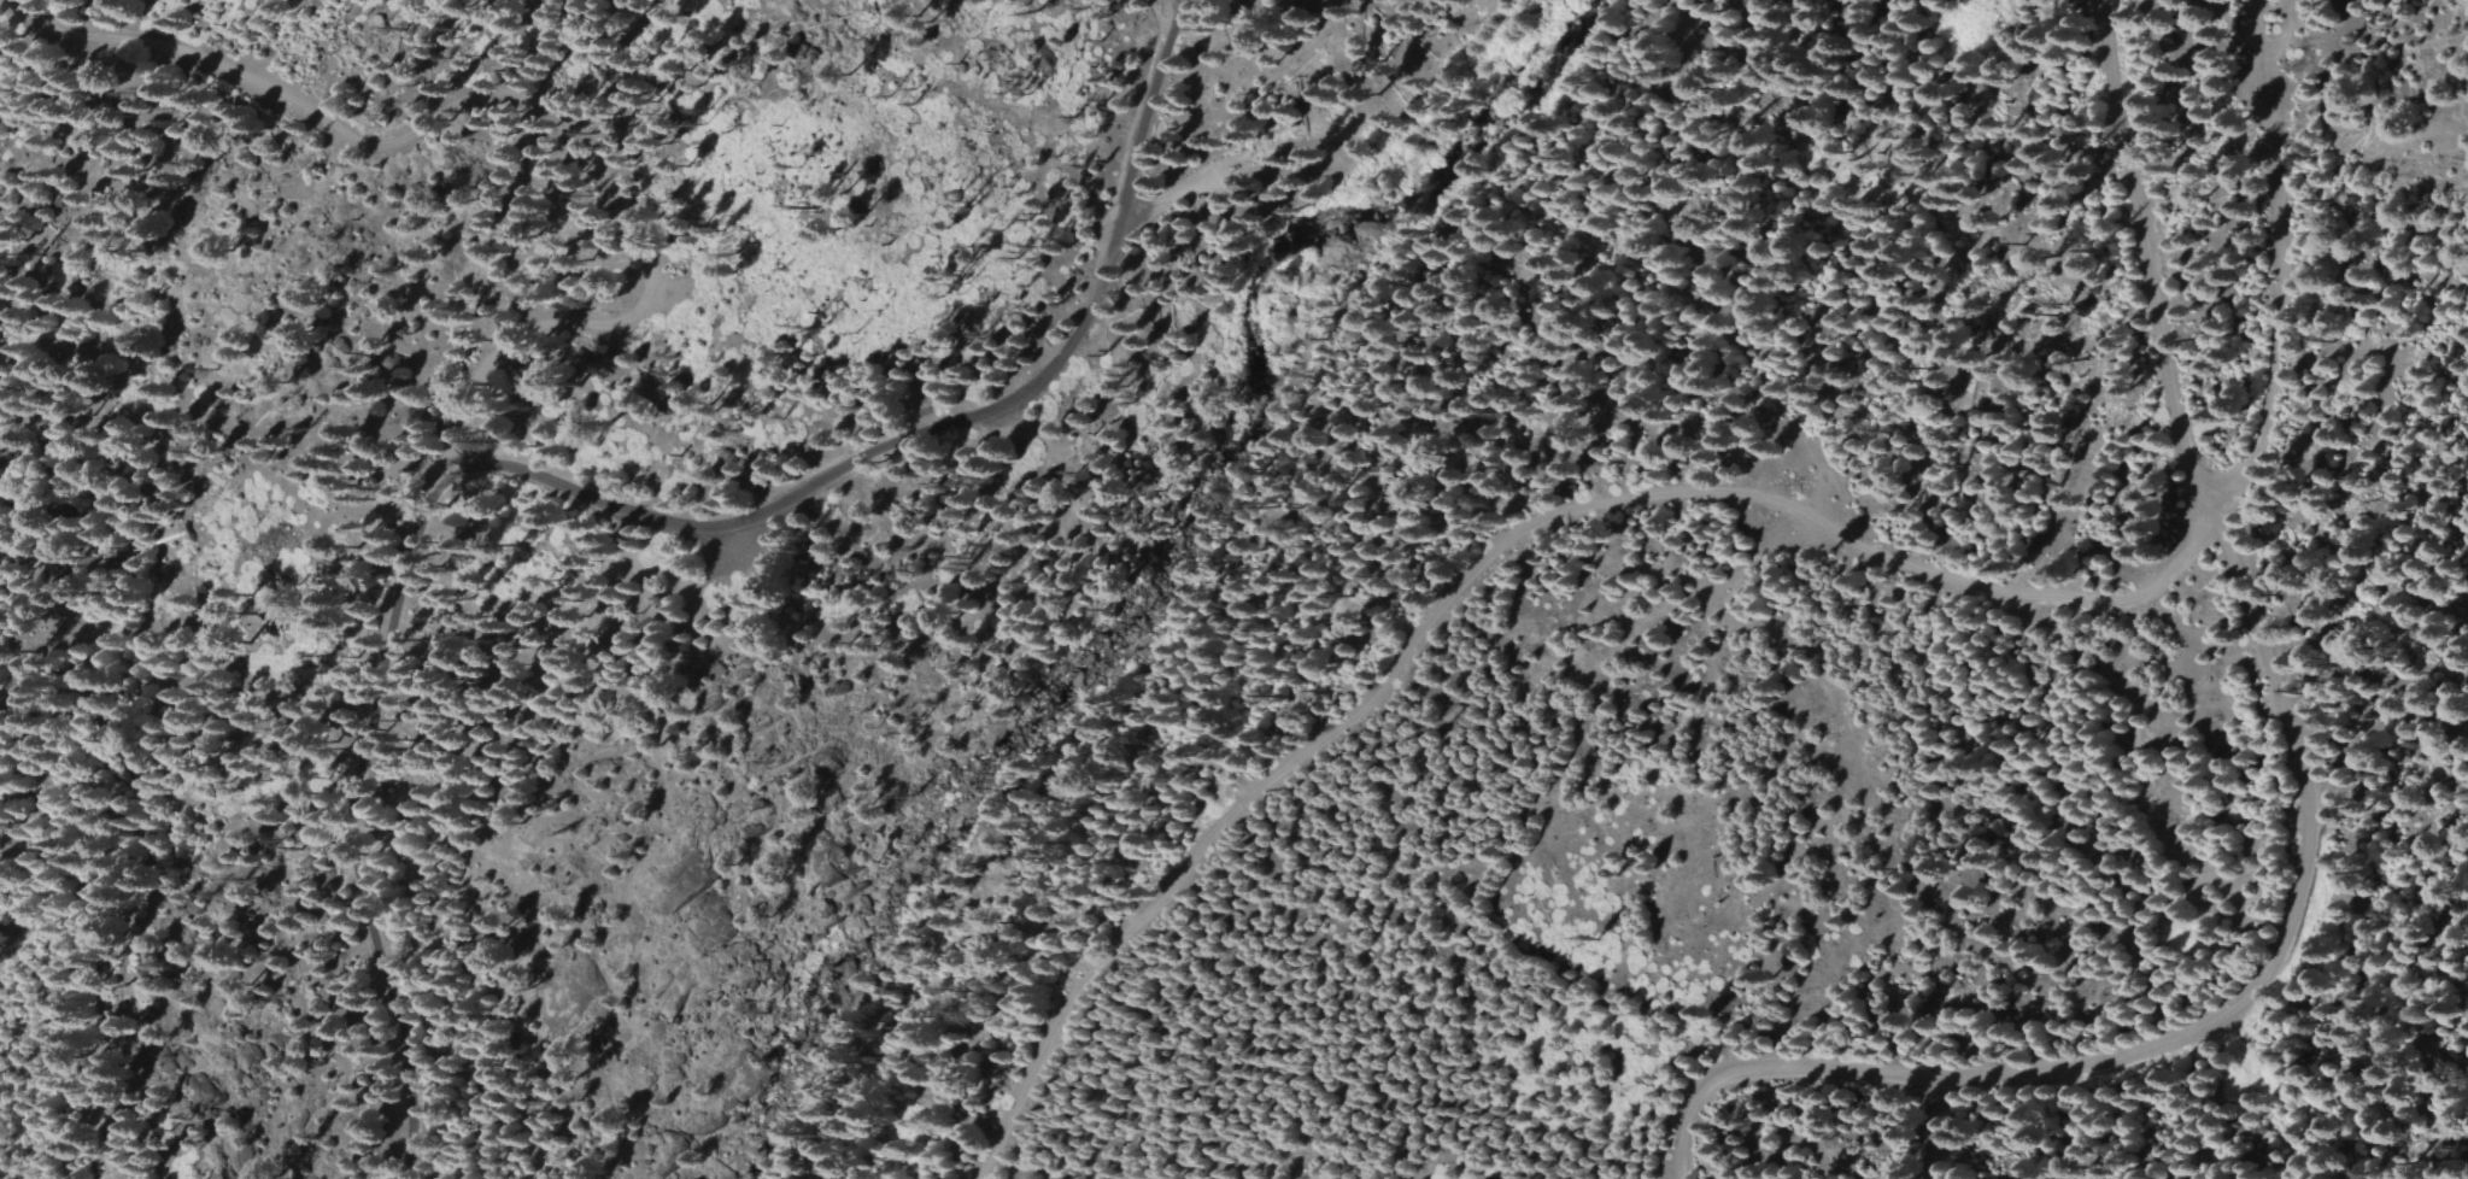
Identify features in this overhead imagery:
road: (510, 92)
road: (2141, 264)
road: (2285, 270)
road: (597, 499)
road: (1488, 569)
road: (2173, 1040)

